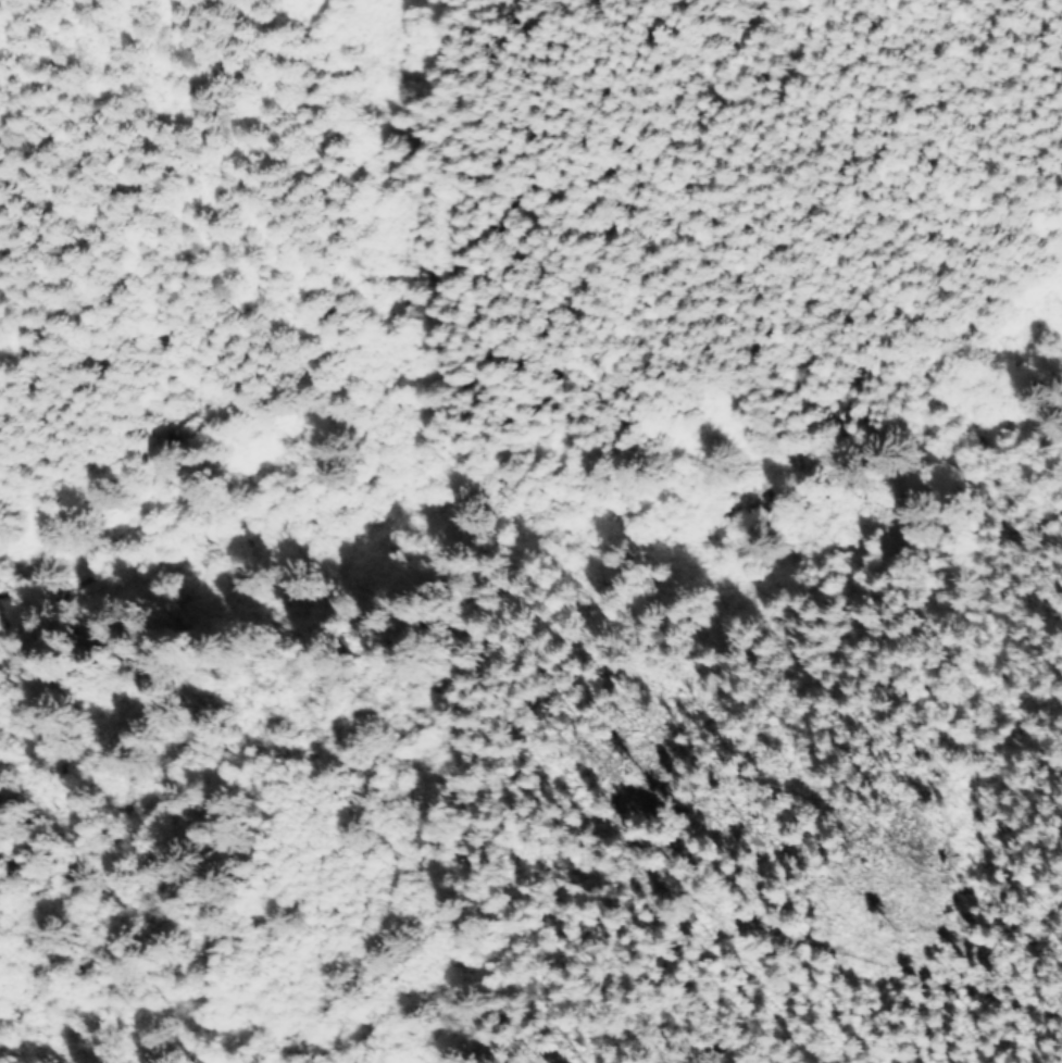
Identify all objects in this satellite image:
road: (984, 972)

